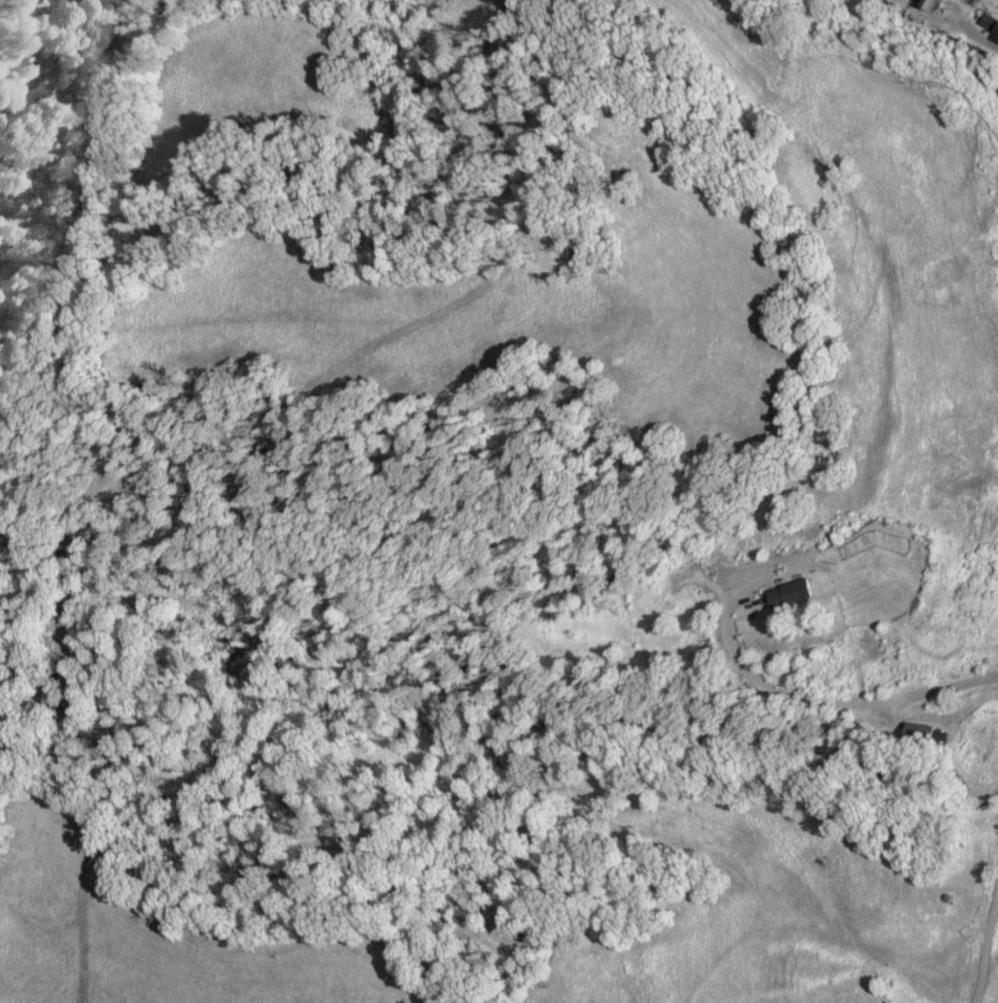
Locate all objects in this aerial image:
road: (819, 700)
road: (984, 935)

